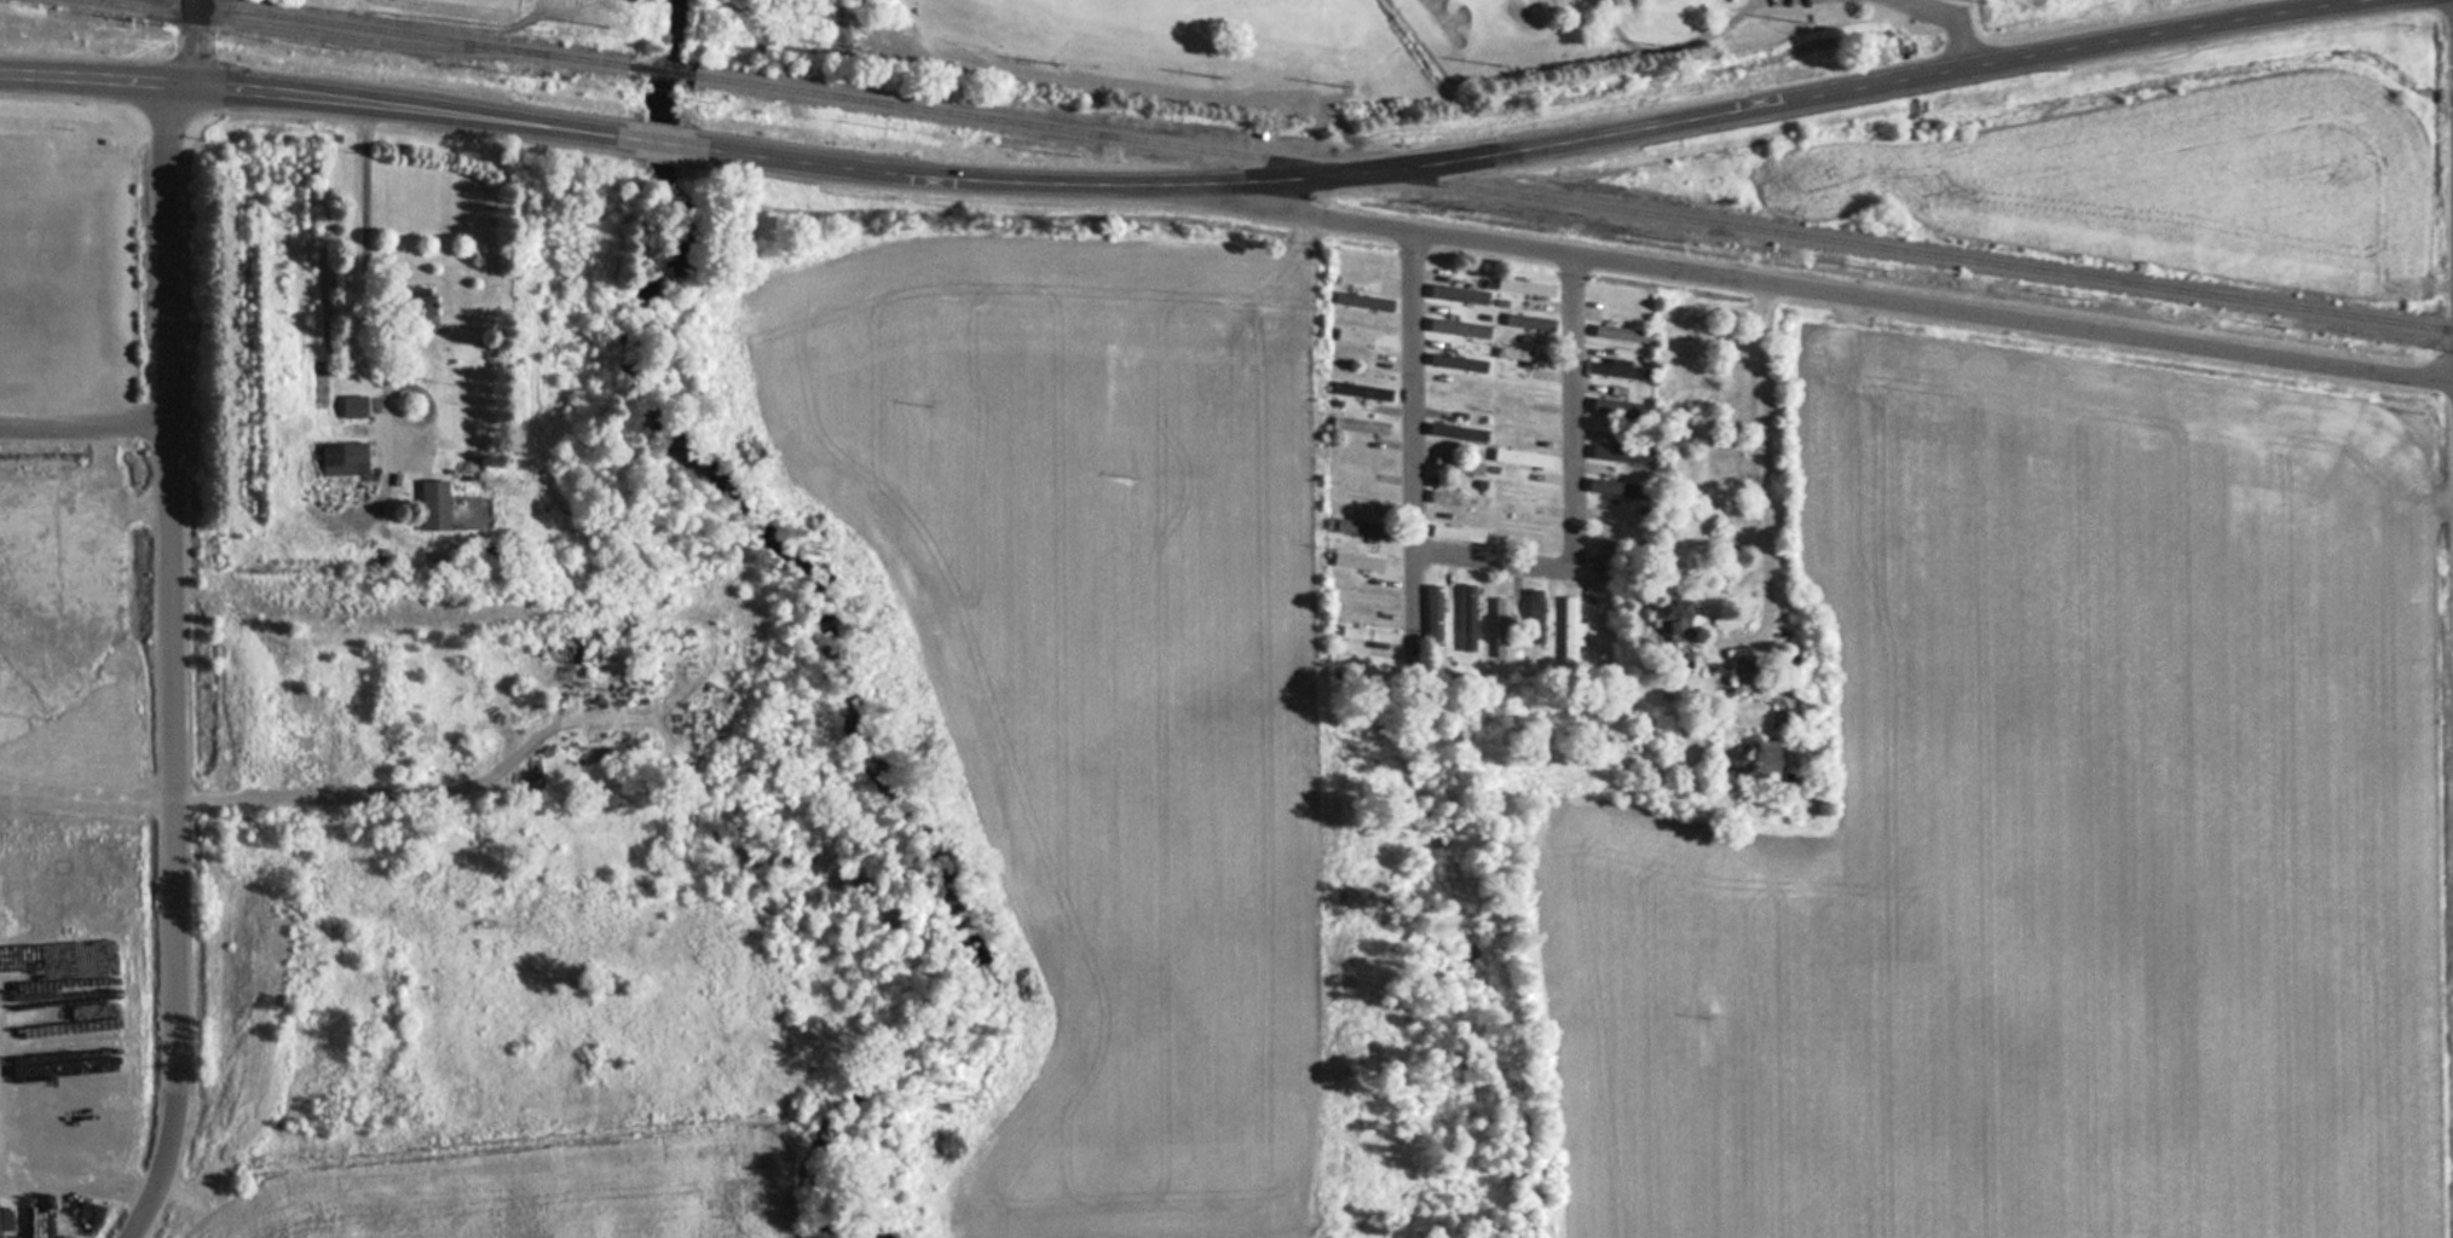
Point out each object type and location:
railway: (305, 31)
railway: (397, 33)
road: (194, 40)
park: (1247, 44)
railway: (663, 73)
road: (94, 75)
road: (419, 106)
road: (666, 143)
road: (1531, 147)
railway: (1575, 203)
building: (1459, 294)
road: (1828, 294)
building: (1364, 301)
building: (419, 307)
building: (1529, 322)
building: (1459, 328)
building: (1622, 334)
building: (1362, 337)
building: (1520, 354)
building: (1456, 361)
building: (1620, 369)
building: (1458, 397)
building: (1605, 405)
building: (353, 406)
building: (1360, 424)
building: (1456, 432)
building: (1620, 453)
building: (344, 458)
building: (1458, 465)
building: (1616, 487)
building: (1520, 491)
building: (1458, 499)
building: (434, 504)
building: (1523, 526)
building: (1362, 528)
building: (1455, 531)
road: (1488, 555)
building: (1357, 561)
building: (1600, 563)
road: (1412, 585)
building: (1364, 598)
building: (1433, 614)
building: (1673, 614)
building: (1467, 617)
building: (1537, 621)
building: (1501, 627)
building: (1375, 636)
road: (171, 661)
building: (1739, 673)
building: (1745, 760)
road: (85, 793)
road: (23, 914)
road: (129, 1040)
road: (77, 1190)

